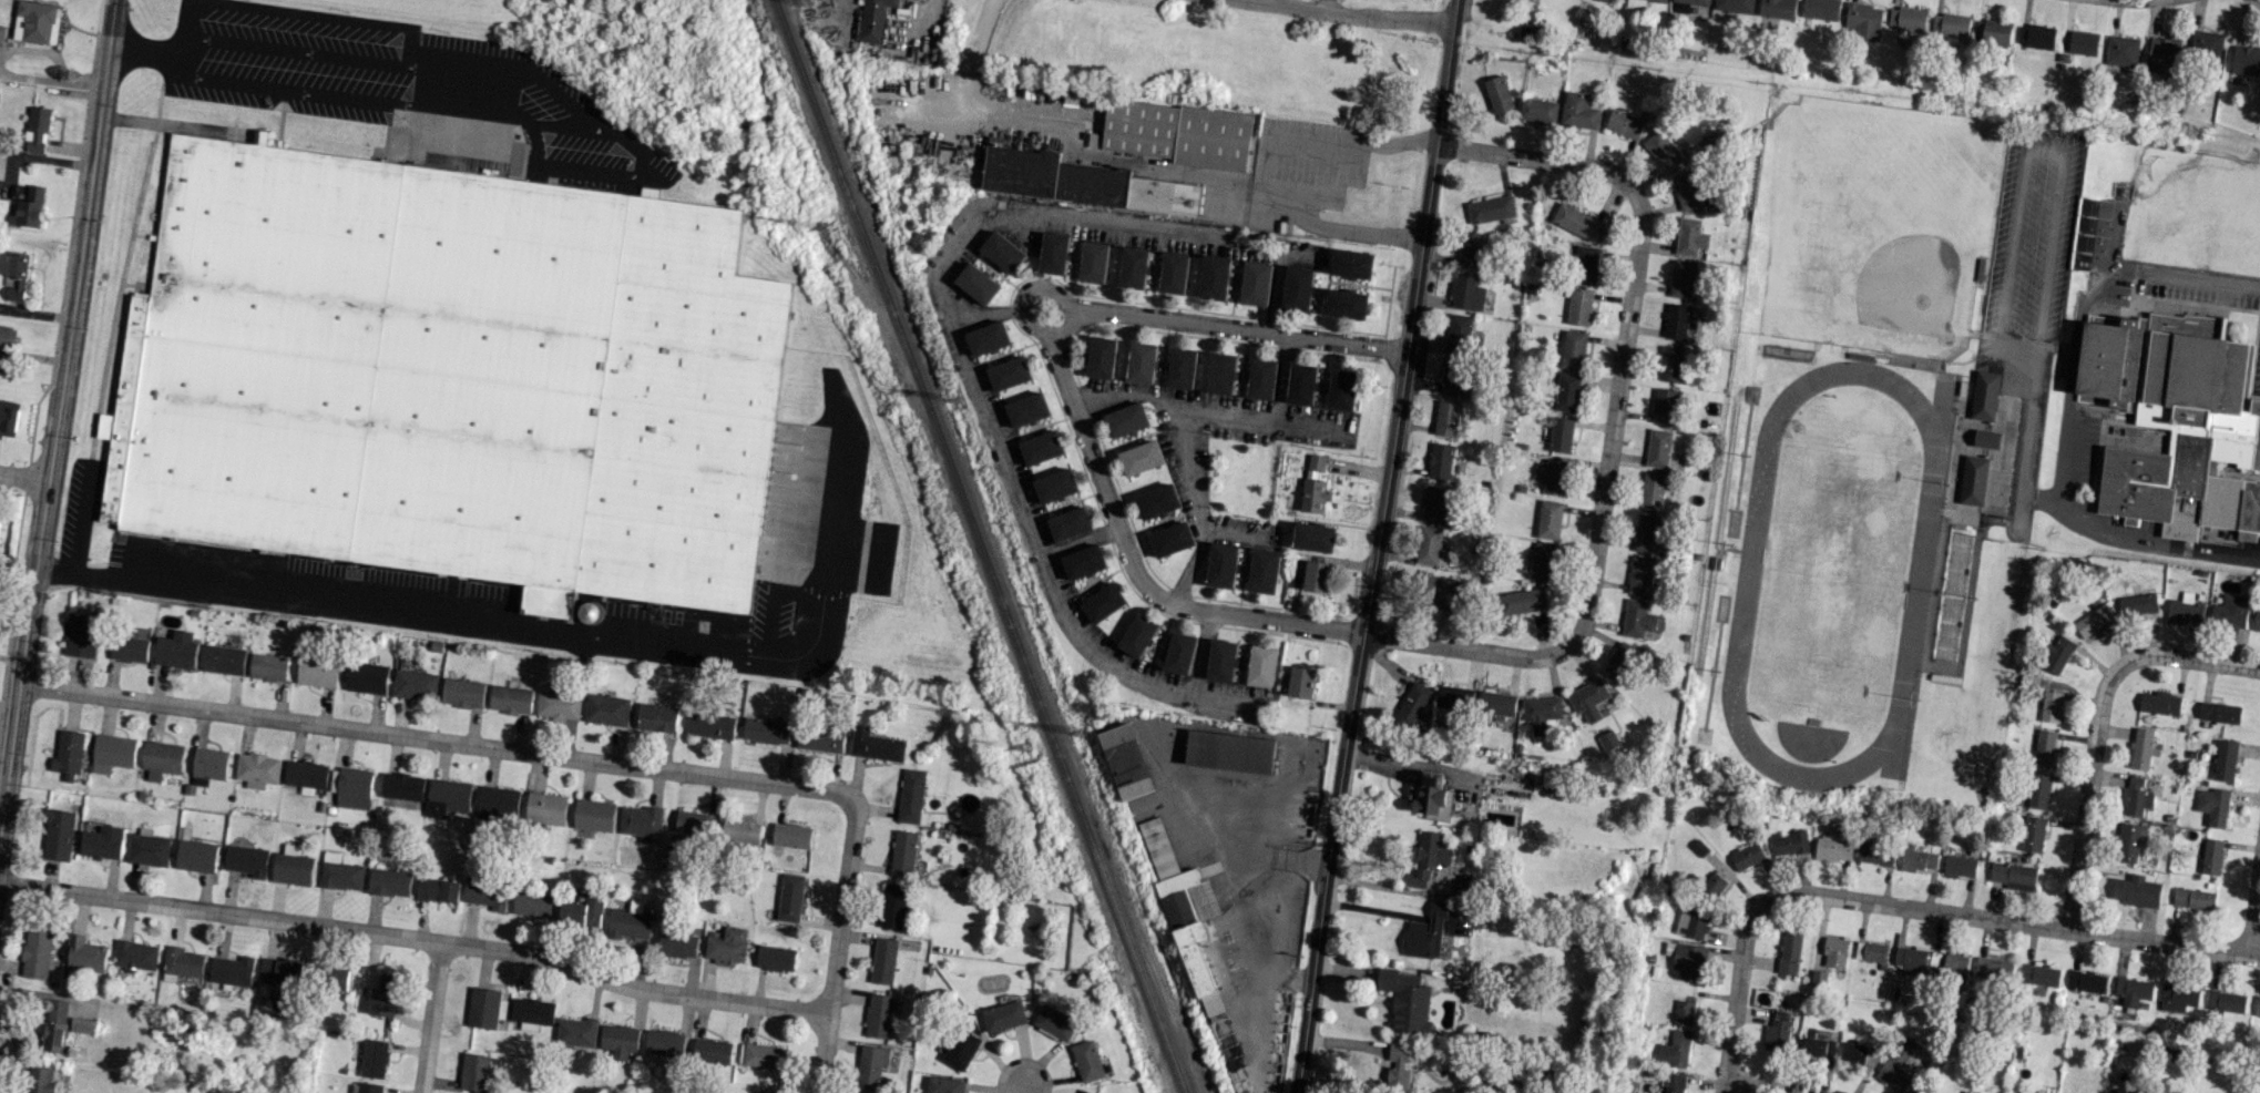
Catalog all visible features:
building: (1516, 0)
building: (1659, 0)
road: (2259, 0)
power tower: (809, 2)
road: (1323, 3)
building: (1636, 3)
building: (1688, 3)
building: (1735, 6)
building: (1777, 8)
building: (1820, 9)
road: (1360, 12)
road: (296, 14)
building: (1905, 18)
building: (873, 19)
building: (1863, 20)
building: (35, 21)
building: (1950, 23)
building: (1996, 31)
building: (1, 34)
building: (2035, 35)
building: (2083, 42)
building: (2206, 45)
building: (2123, 50)
road: (143, 51)
building: (2162, 54)
building: (2246, 59)
road: (185, 68)
road: (423, 80)
road: (306, 93)
building: (1499, 93)
building: (1538, 110)
building: (1579, 111)
road: (1070, 122)
building: (1625, 123)
building: (35, 129)
building: (1190, 134)
road: (2034, 149)
building: (1664, 150)
road: (1260, 174)
building: (1045, 176)
building: (1690, 188)
building: (1166, 196)
building: (30, 207)
building: (1491, 208)
building: (1579, 222)
power tower: (826, 226)
building: (1690, 236)
building: (1471, 248)
building: (1351, 263)
building: (1586, 264)
building: (1139, 268)
building: (1173, 273)
road: (2105, 273)
building: (17, 275)
building: (1213, 277)
building: (1681, 278)
building: (1255, 283)
building: (980, 284)
road: (1026, 287)
building: (1297, 288)
building: (1466, 292)
building: (1346, 304)
building: (1579, 307)
road: (983, 315)
building: (1676, 320)
road: (1221, 326)
building: (1459, 333)
building: (7, 337)
building: (989, 337)
building: (1573, 349)
building: (1102, 356)
building: (1144, 362)
building: (1670, 362)
building: (1179, 367)
building: (1010, 372)
building: (1220, 372)
building: (450, 375)
building: (1453, 375)
building: (1260, 378)
building: (1300, 384)
building: (1341, 389)
building: (1567, 391)
building: (1985, 395)
road: (978, 397)
power tower: (958, 400)
building: (1665, 406)
building: (1027, 408)
road: (1207, 408)
road: (57, 411)
building: (1139, 415)
building: (8, 417)
building: (1446, 418)
road: (1613, 420)
building: (2178, 421)
building: (1562, 433)
building: (1987, 438)
building: (1042, 447)
building: (1663, 448)
building: (1146, 454)
building: (1440, 460)
road: (2064, 461)
building: (1555, 477)
road: (23, 478)
building: (1973, 479)
building: (1056, 484)
building: (1313, 484)
building: (1651, 490)
road: (1194, 494)
building: (1157, 500)
building: (1434, 502)
road: (2078, 511)
building: (1550, 519)
building: (0, 521)
building: (1071, 523)
building: (1647, 532)
building: (1313, 537)
building: (1170, 539)
road: (1078, 541)
railway: (982, 545)
building: (1430, 545)
road: (1376, 546)
building: (1084, 561)
building: (1544, 561)
building: (1220, 564)
road: (1189, 565)
building: (1262, 570)
road: (1135, 571)
building: (1640, 574)
track: (1747, 574)
park: (1834, 574)
building: (1316, 575)
building: (1436, 589)
building: (1522, 601)
building: (1104, 602)
building: (2138, 602)
road: (403, 607)
building: (2230, 612)
building: (2185, 613)
building: (1637, 617)
building: (2093, 620)
building: (2257, 620)
building: (81, 635)
building: (130, 648)
building: (176, 650)
building: (1180, 652)
building: (2055, 654)
building: (224, 658)
building: (1220, 660)
road: (2201, 660)
building: (1620, 662)
building: (1262, 666)
building: (268, 667)
building: (317, 671)
building: (367, 677)
building: (1301, 682)
building: (416, 684)
building: (463, 693)
building: (1456, 697)
building: (1588, 698)
building: (511, 699)
road: (1221, 701)
building: (2160, 702)
building: (1499, 703)
building: (1414, 705)
building: (560, 706)
building: (2049, 706)
building: (607, 708)
building: (1542, 712)
building: (2219, 712)
building: (657, 716)
building: (713, 725)
building: (766, 729)
power tower: (1082, 732)
building: (820, 737)
road: (434, 739)
building: (1607, 739)
building: (875, 744)
power tower: (1022, 745)
building: (2044, 747)
building: (2141, 747)
building: (1230, 752)
building: (112, 753)
building: (68, 754)
building: (161, 759)
building: (2225, 759)
building: (1127, 760)
building: (209, 764)
building: (257, 769)
building: (306, 775)
road: (2088, 780)
building: (402, 786)
building: (352, 788)
building: (2037, 790)
building: (1431, 796)
building: (448, 797)
building: (2135, 797)
building: (497, 804)
building: (2213, 805)
building: (545, 808)
building: (594, 815)
building: (640, 820)
building: (694, 823)
road: (1244, 829)
building: (740, 830)
building: (2032, 832)
building: (59, 835)
building: (2130, 841)
building: (103, 842)
building: (1789, 842)
building: (1833, 846)
building: (149, 849)
building: (1875, 850)
building: (903, 852)
building: (1746, 855)
building: (196, 856)
building: (2211, 856)
building: (1429, 857)
building: (1916, 858)
building: (246, 860)
building: (1960, 865)
building: (292, 867)
building: (339, 872)
building: (2013, 875)
building: (389, 882)
building: (1712, 886)
building: (438, 890)
building: (2136, 890)
building: (485, 893)
building: (790, 897)
building: (2192, 898)
building: (532, 903)
building: (893, 906)
road: (2253, 907)
building: (583, 910)
building: (1185, 912)
road: (1996, 919)
building: (1693, 920)
building: (628, 923)
building: (1425, 932)
road: (416, 939)
building: (679, 942)
road: (1278, 942)
road: (835, 943)
building: (727, 946)
building: (1789, 951)
building: (1835, 951)
building: (1871, 951)
building: (37, 953)
building: (85, 954)
building: (135, 954)
building: (776, 957)
road: (1245, 957)
building: (1911, 958)
building: (884, 960)
building: (1689, 961)
building: (182, 963)
building: (1955, 967)
building: (232, 970)
building: (279, 970)
building: (1993, 970)
building: (2039, 974)
building: (337, 979)
building: (1818, 979)
building: (2086, 981)
building: (386, 982)
building: (2133, 990)
building: (2178, 995)
building: (1405, 1000)
building: (2226, 1001)
building: (382, 1002)
building: (487, 1007)
building: (2257, 1007)
road: (1734, 1008)
building: (1684, 1011)
building: (532, 1013)
building: (879, 1014)
building: (1005, 1017)
road: (429, 1018)
building: (1055, 1021)
building: (55, 1025)
building: (83, 1025)
building: (577, 1031)
building: (1777, 1031)
building: (620, 1040)
building: (1818, 1046)
building: (962, 1049)
building: (1675, 1049)
building: (717, 1052)
building: (1859, 1052)
building: (374, 1059)
building: (1087, 1060)
building: (1899, 1065)
building: (871, 1066)
building: (1398, 1069)
building: (474, 1072)
building: (42, 1080)
building: (1673, 1083)
road: (1760, 1086)
building: (366, 1087)
road: (1022, 1087)
building: (1919, 1091)
building: (759, 1092)
building: (1084, 1092)

